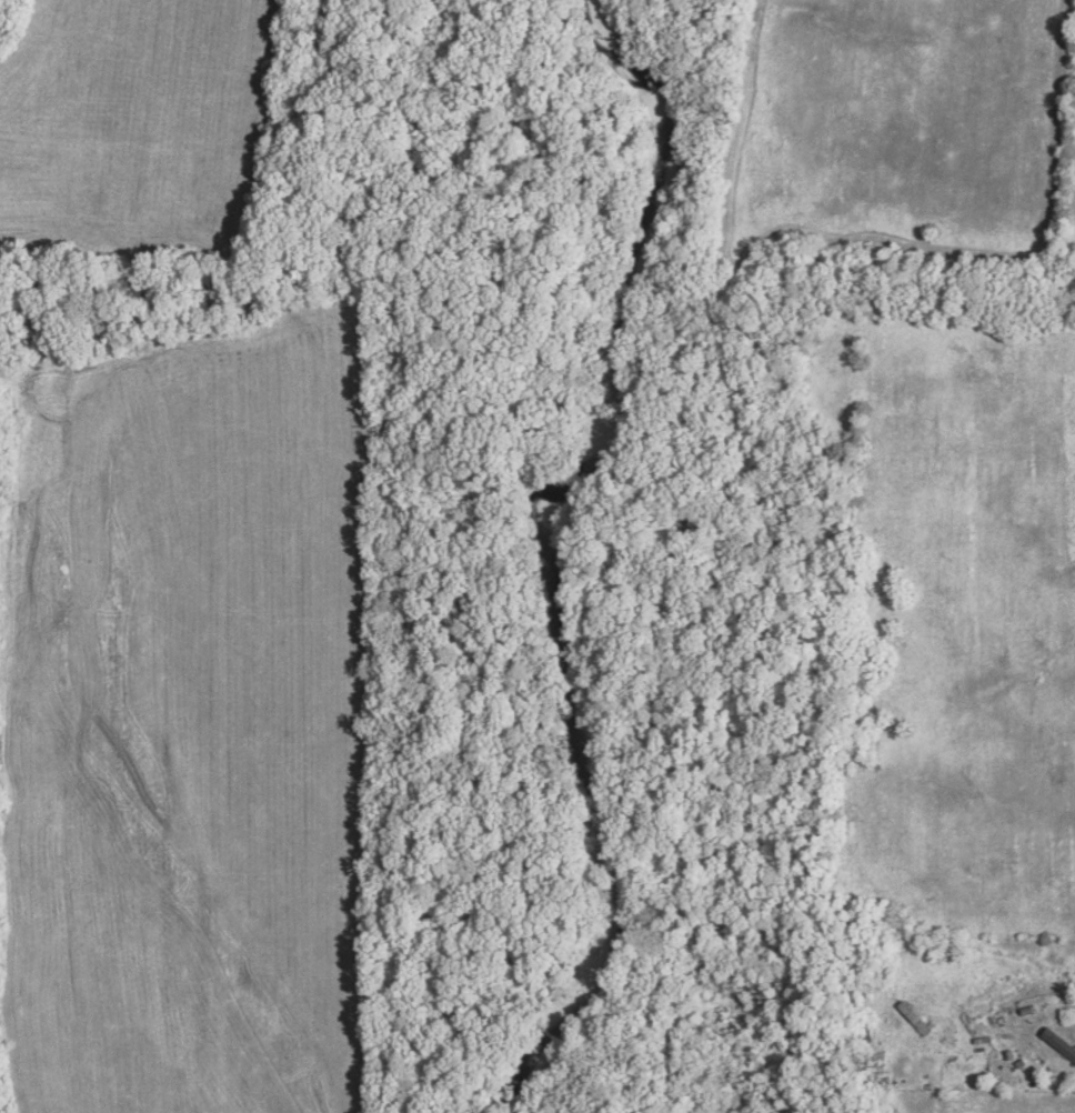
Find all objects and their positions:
building: (914, 1017)
building: (1061, 1042)

